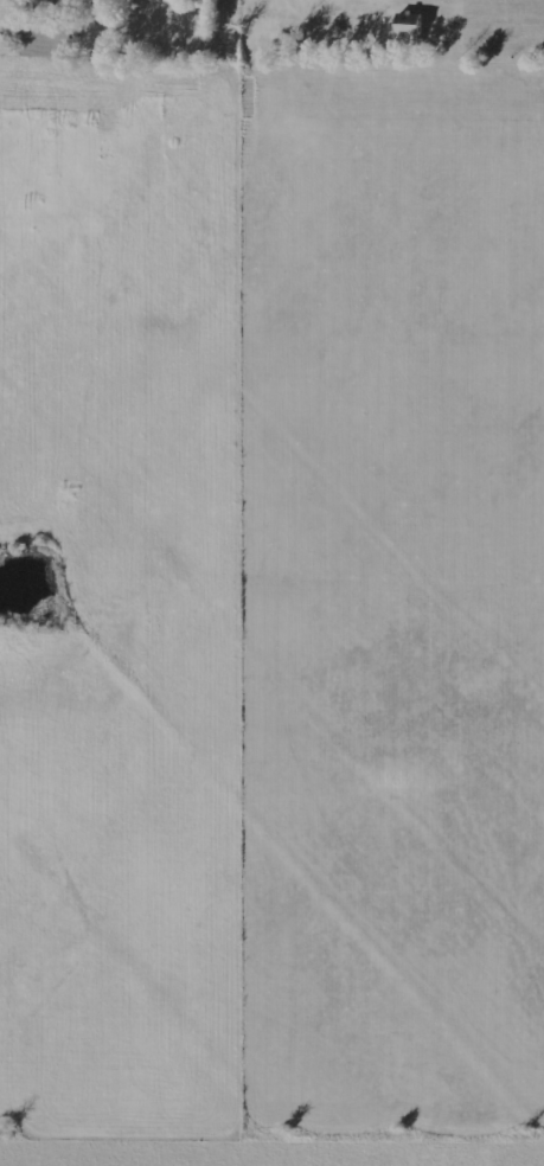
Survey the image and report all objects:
building: (409, 34)

